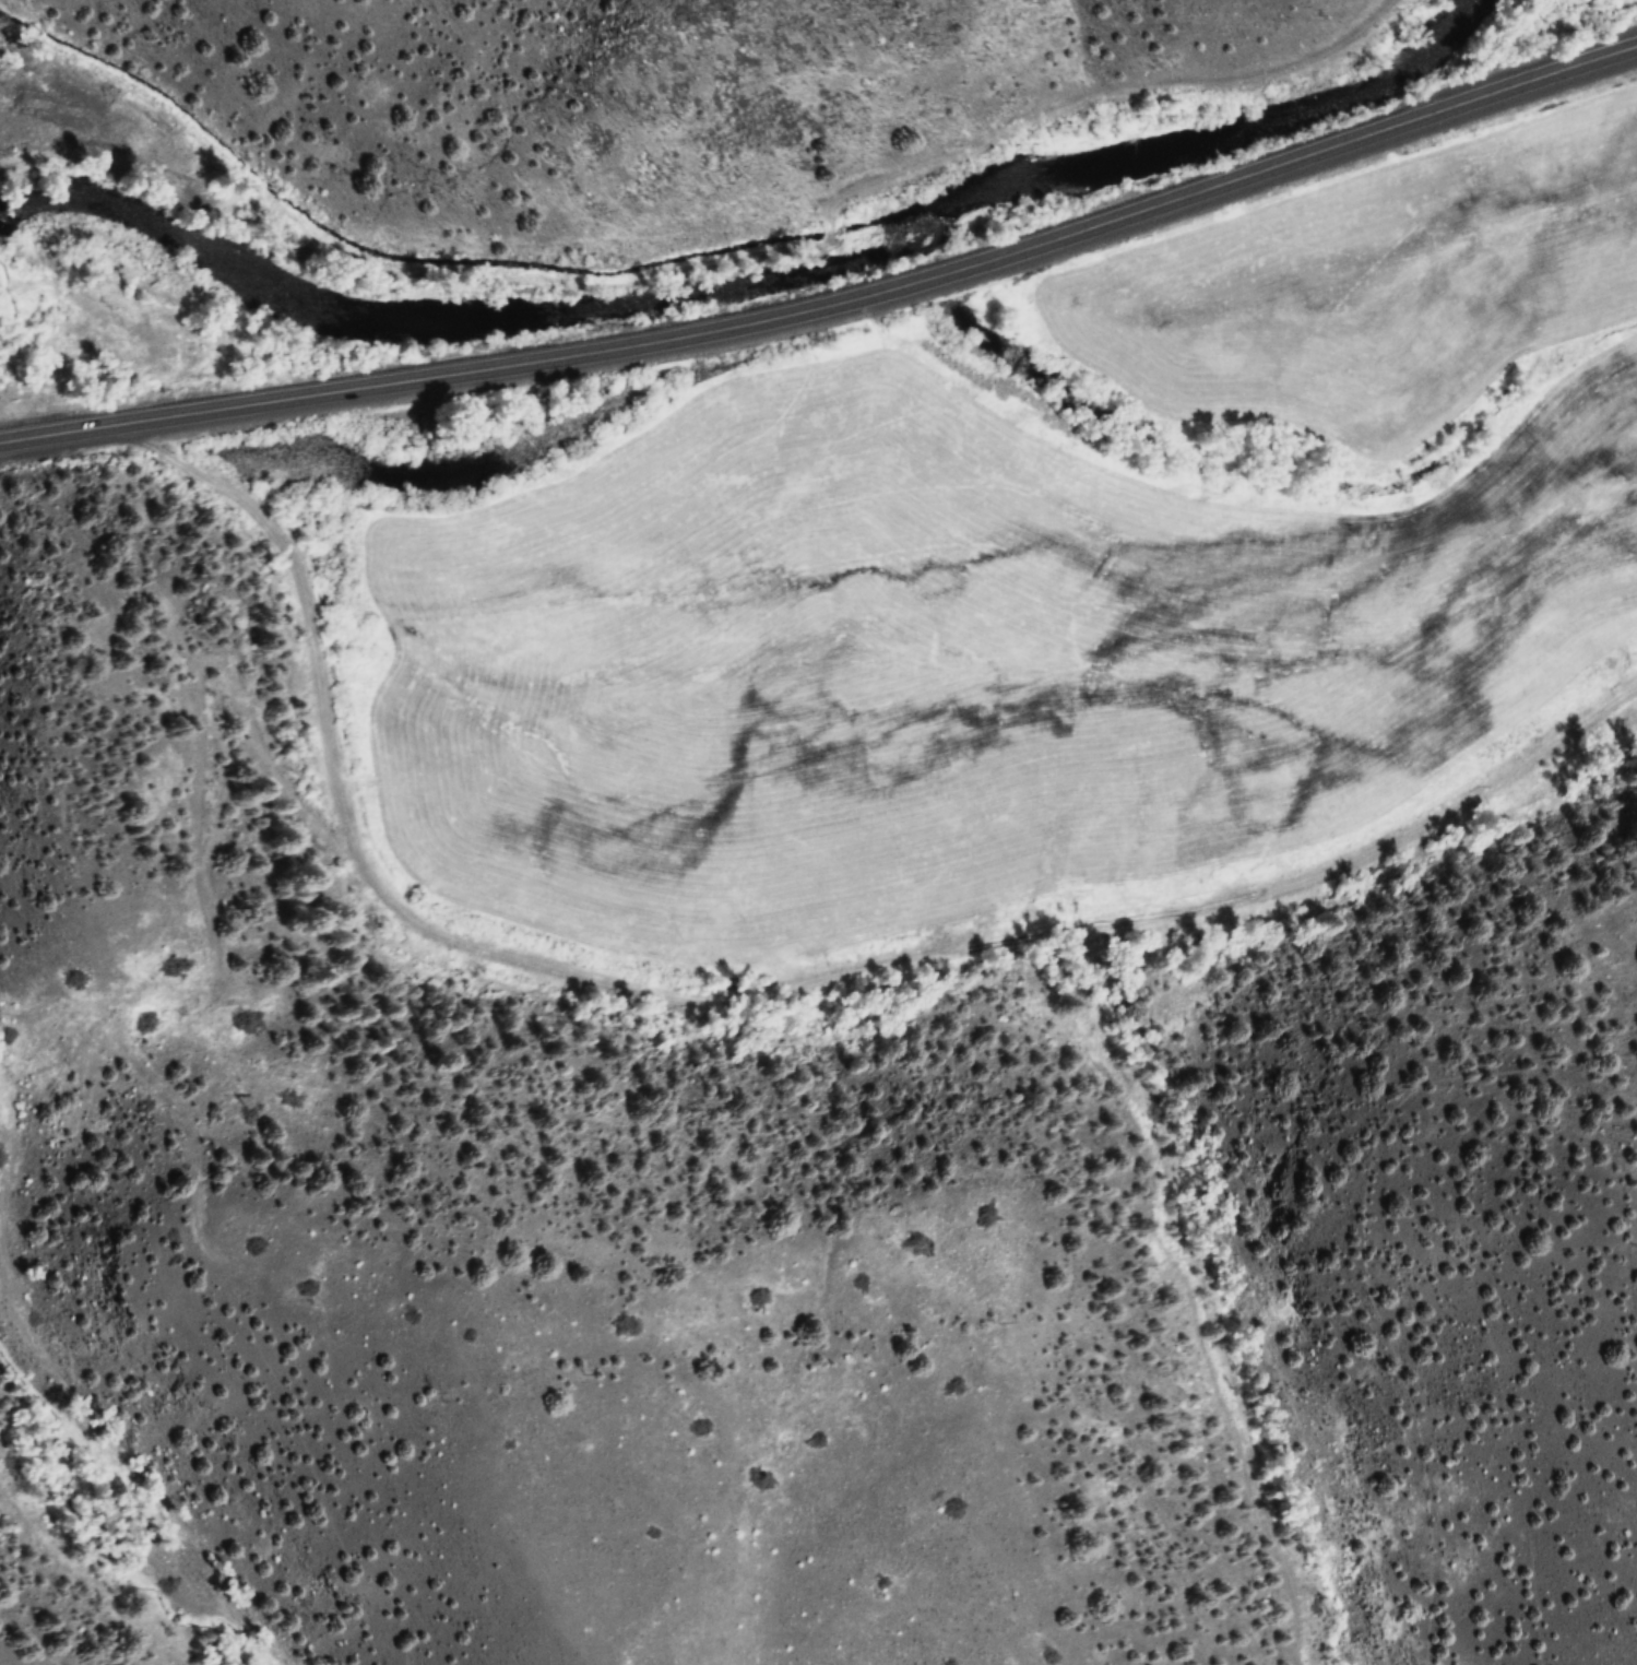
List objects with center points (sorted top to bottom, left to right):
river: (750, 276)
road: (906, 286)
road: (75, 430)

